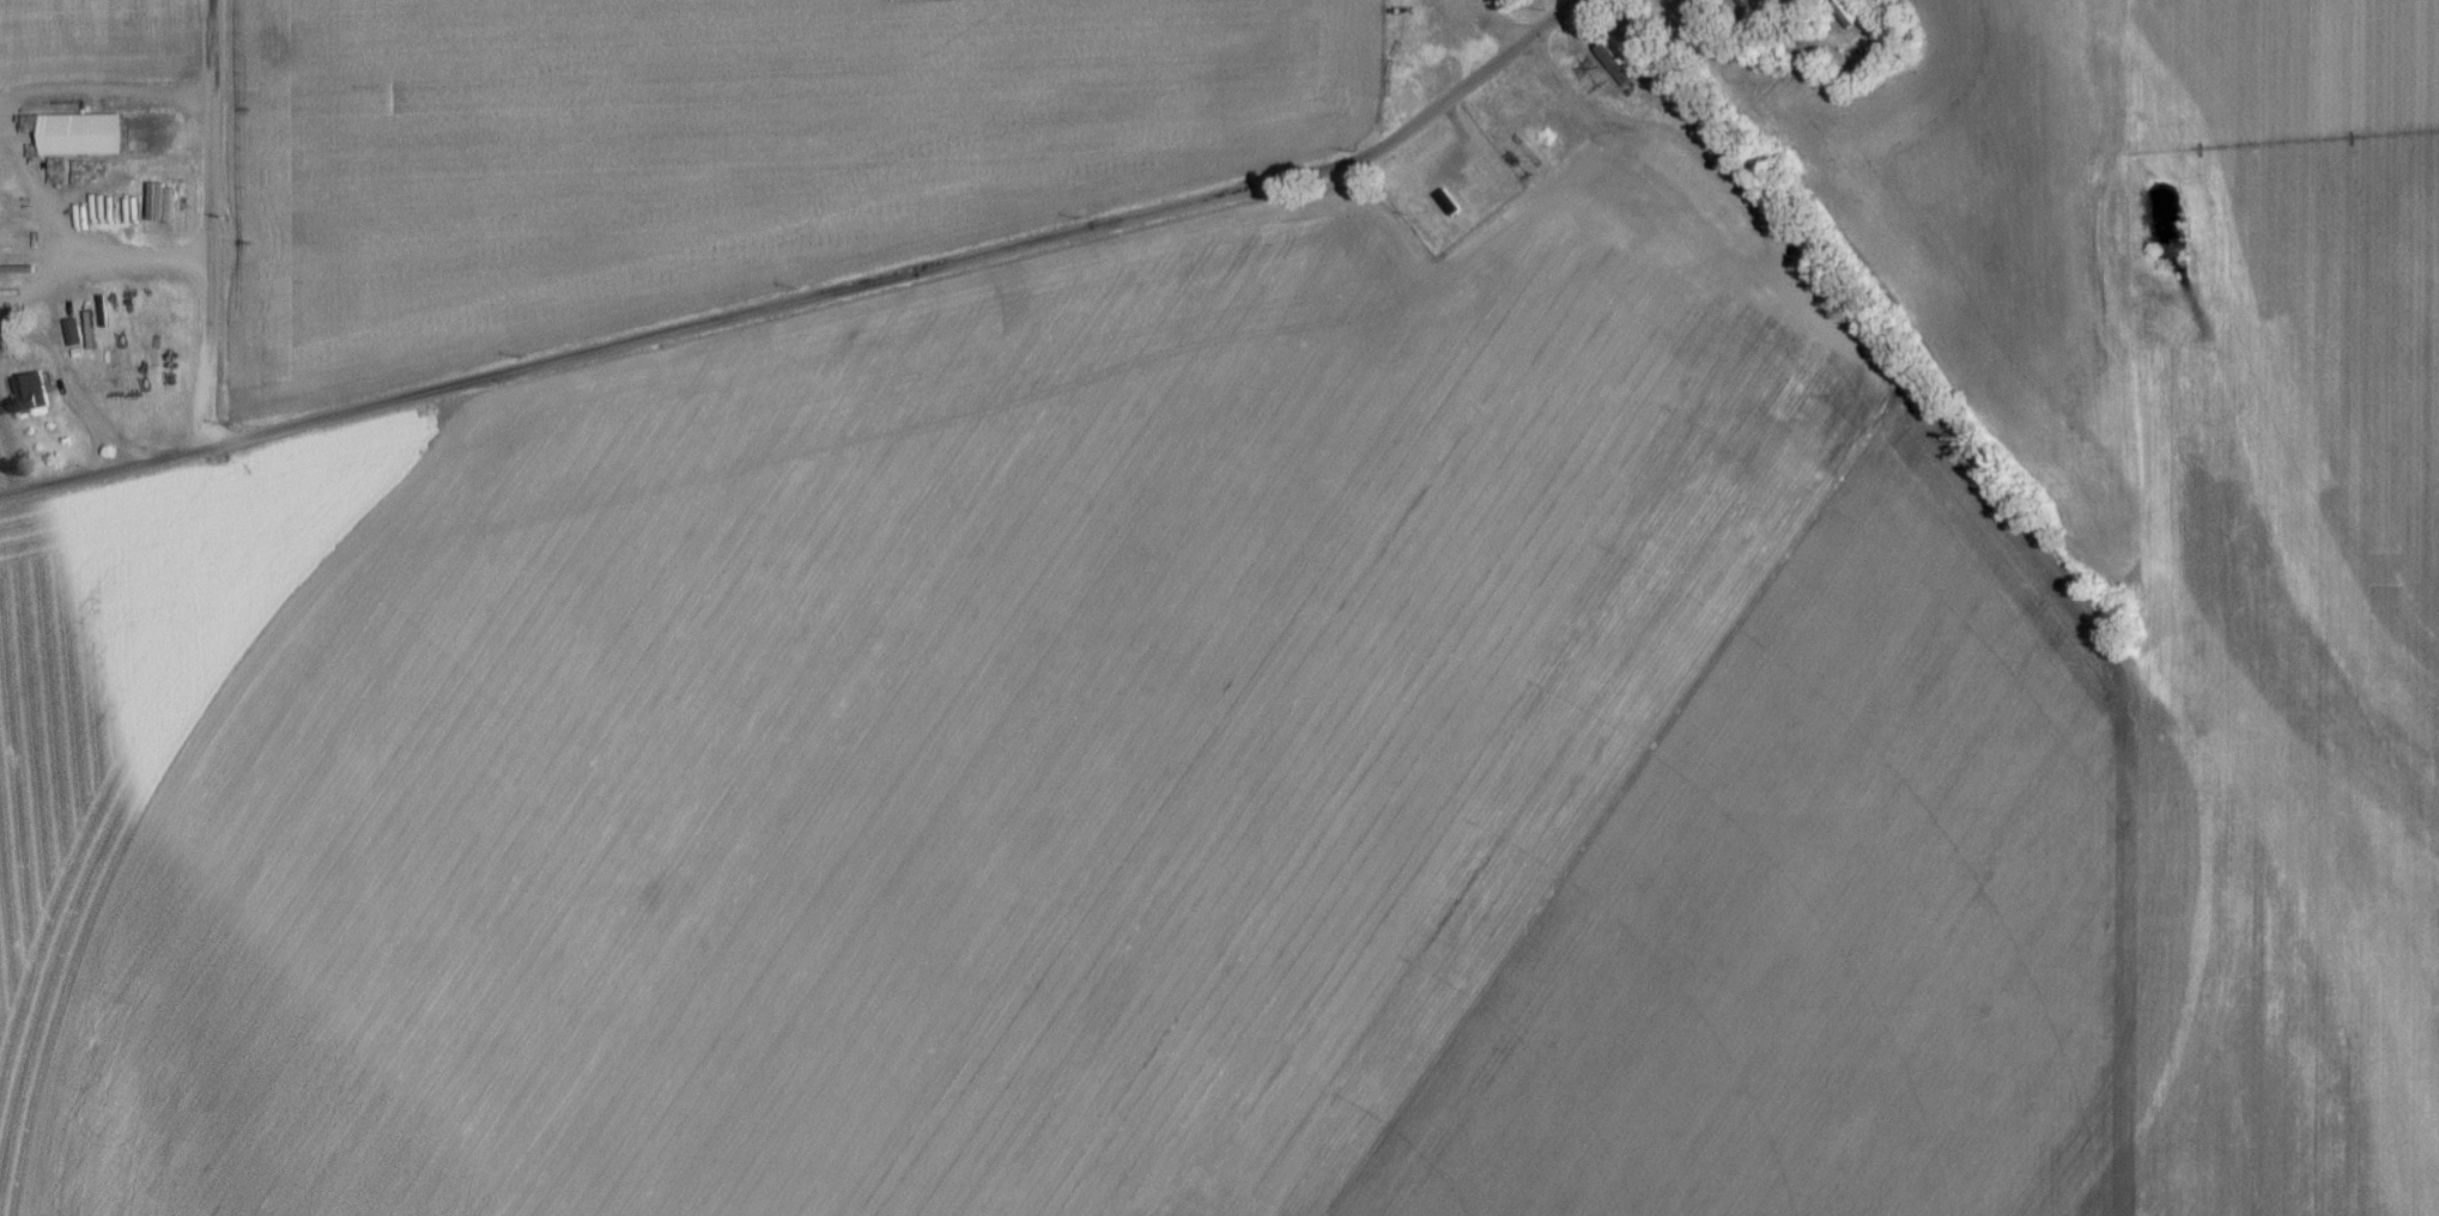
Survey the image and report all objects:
building: (1749, 7)
building: (1850, 19)
building: (1620, 68)
road: (20, 95)
building: (79, 144)
building: (1449, 212)
road: (206, 224)
road: (87, 265)
road: (812, 296)
building: (73, 341)
road: (61, 363)
building: (30, 401)
road: (96, 431)

